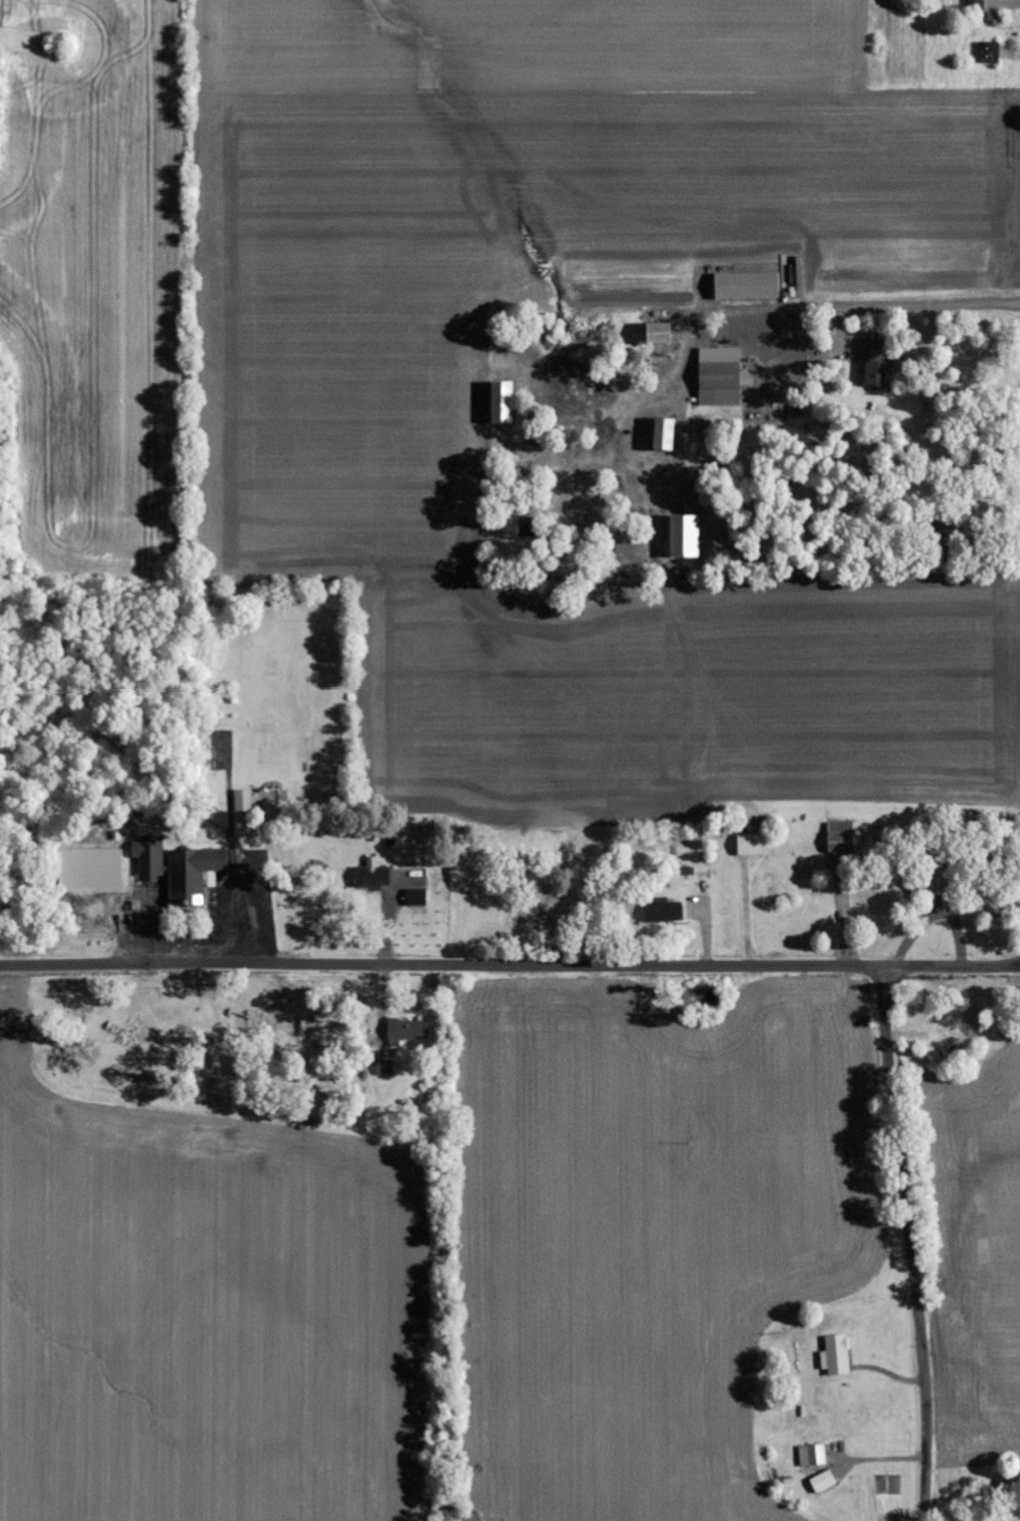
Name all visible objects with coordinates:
building: (977, 5)
building: (990, 53)
building: (751, 287)
building: (666, 335)
building: (877, 363)
building: (723, 377)
building: (507, 404)
building: (669, 436)
building: (515, 529)
building: (690, 538)
building: (245, 801)
building: (846, 837)
building: (753, 845)
building: (182, 869)
building: (374, 875)
building: (934, 885)
building: (418, 897)
building: (666, 913)
road: (509, 964)
building: (409, 1031)
building: (387, 1068)
road: (910, 1243)
building: (838, 1356)
building: (813, 1456)
building: (825, 1481)

